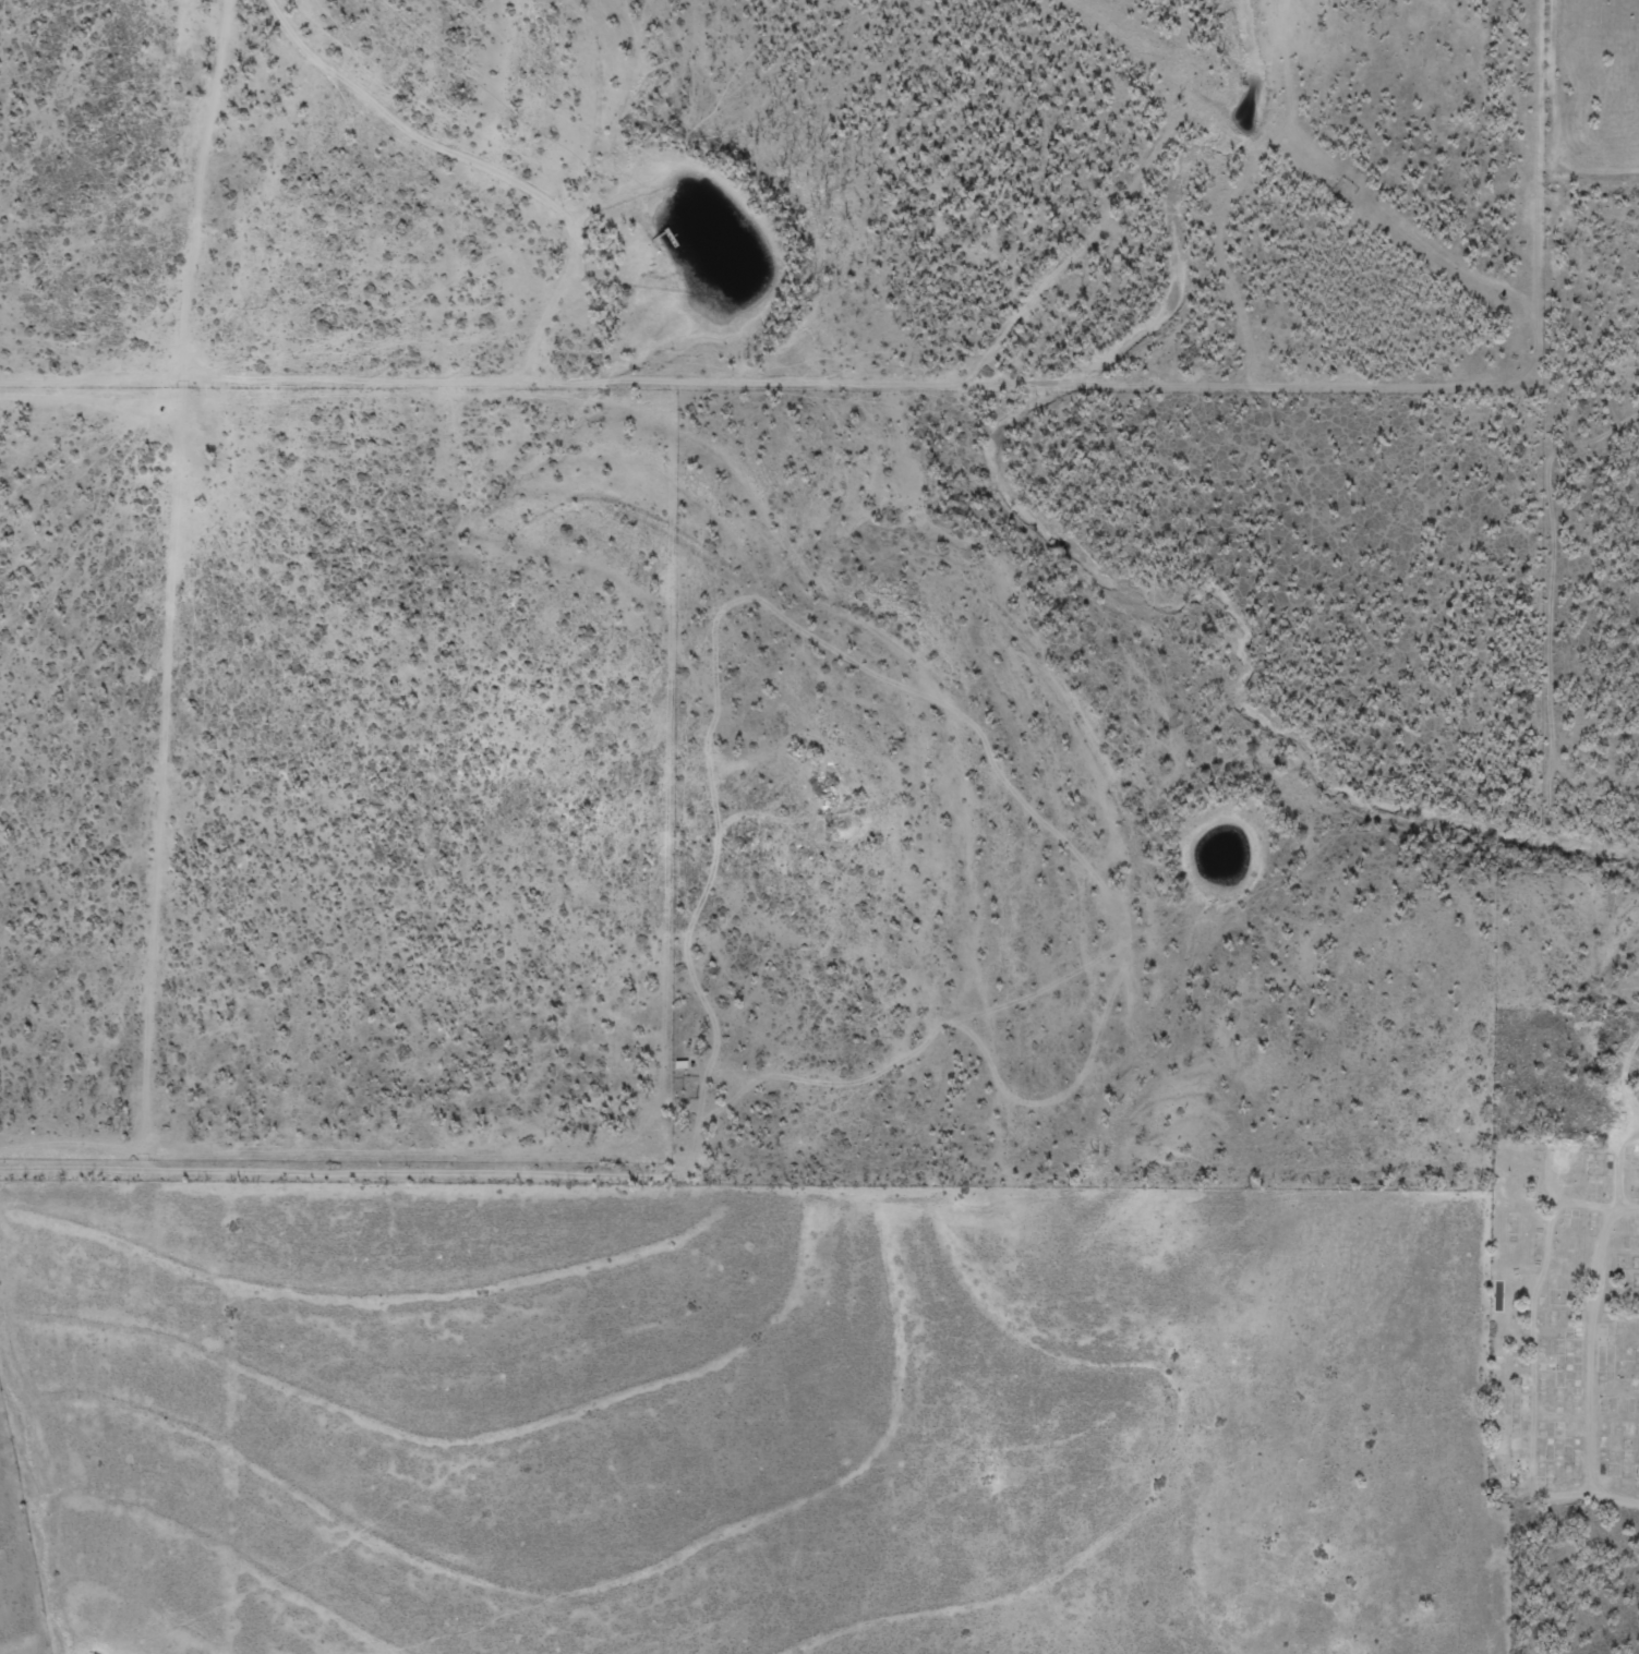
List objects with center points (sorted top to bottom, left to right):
park: (1565, 1260)

